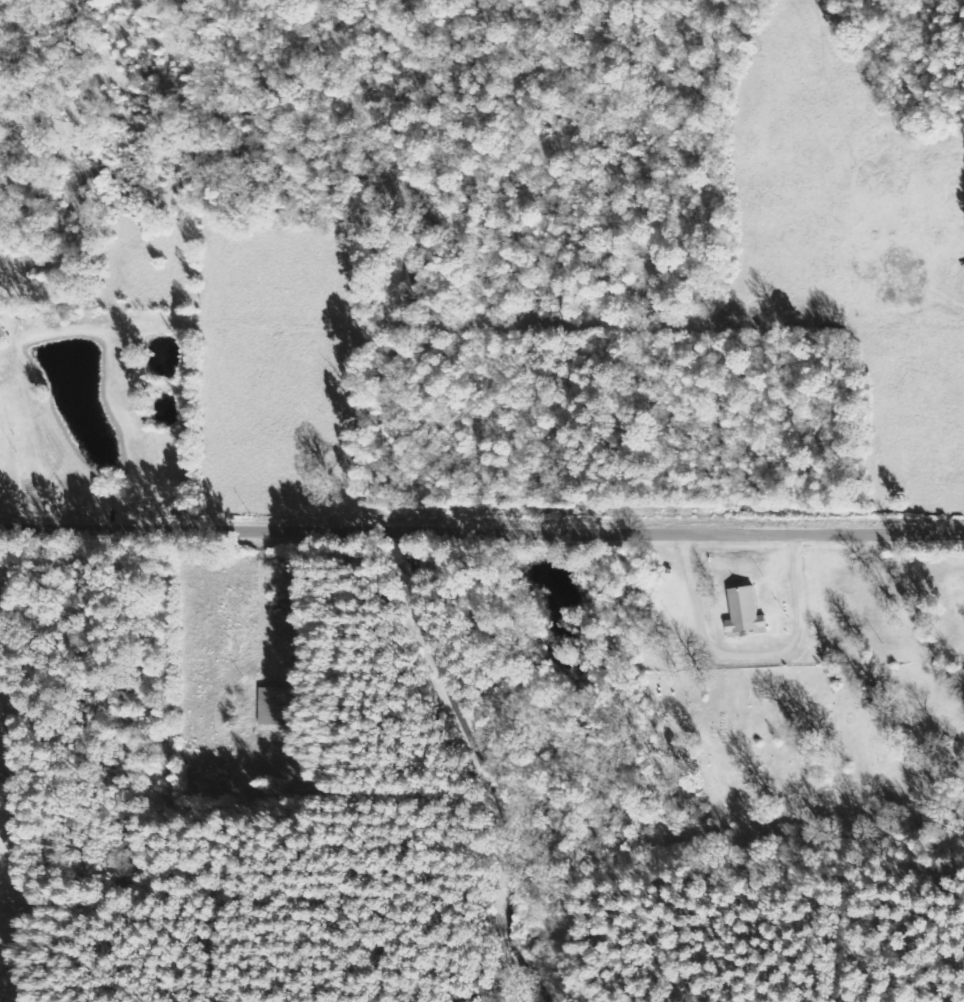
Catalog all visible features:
road: (557, 68)
road: (406, 336)
road: (482, 527)
building: (747, 613)
road: (750, 652)
building: (280, 706)
road: (463, 764)
park: (783, 769)

